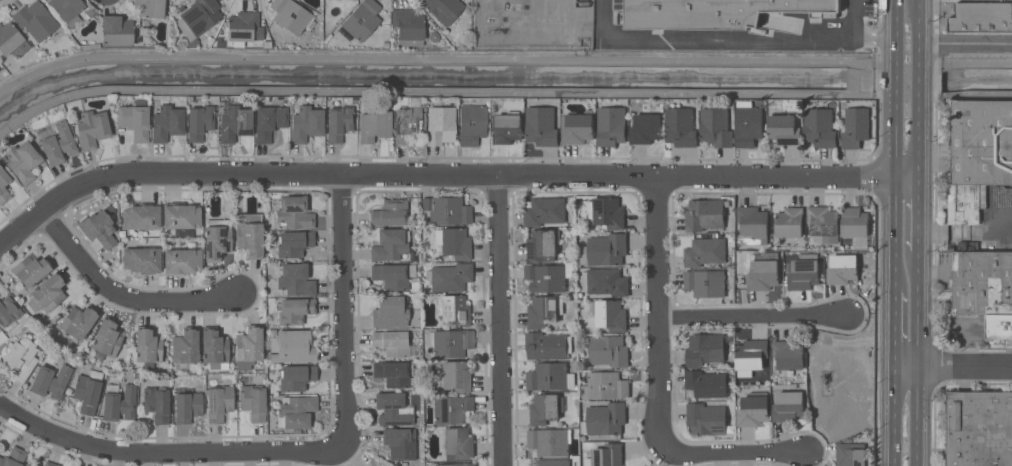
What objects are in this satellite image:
building: (66, 8)
building: (150, 8)
building: (443, 9)
building: (715, 12)
building: (290, 15)
building: (982, 17)
building: (35, 19)
building: (198, 19)
building: (361, 19)
road: (852, 20)
building: (408, 25)
building: (243, 27)
road: (918, 27)
road: (896, 28)
building: (116, 30)
petroleum well: (494, 31)
building: (11, 40)
road: (874, 40)
road: (708, 41)
road: (965, 44)
road: (502, 62)
road: (895, 80)
road: (918, 80)
building: (406, 117)
building: (134, 119)
building: (199, 121)
building: (268, 121)
building: (166, 122)
building: (234, 122)
building: (338, 122)
building: (305, 123)
building: (373, 123)
building: (471, 123)
building: (440, 124)
building: (611, 125)
building: (856, 125)
building: (542, 126)
building: (578, 126)
building: (749, 126)
building: (506, 127)
building: (681, 127)
building: (716, 127)
building: (820, 127)
building: (91, 128)
building: (646, 128)
building: (785, 129)
road: (894, 141)
road: (918, 141)
building: (58, 144)
building: (978, 155)
building: (23, 161)
road: (436, 174)
road: (906, 178)
building: (3, 182)
building: (447, 209)
building: (544, 211)
building: (294, 212)
building: (389, 212)
building: (609, 213)
building: (704, 214)
road: (917, 214)
building: (141, 216)
building: (181, 217)
building: (753, 222)
building: (789, 222)
building: (854, 222)
building: (823, 223)
building: (98, 227)
building: (249, 233)
road: (964, 233)
road: (894, 234)
building: (217, 238)
building: (453, 242)
building: (294, 243)
building: (389, 244)
building: (542, 246)
building: (604, 250)
building: (705, 252)
building: (142, 259)
building: (181, 261)
building: (31, 269)
building: (842, 269)
building: (764, 272)
building: (804, 272)
building: (392, 274)
building: (449, 276)
building: (545, 277)
building: (295, 279)
building: (605, 281)
building: (705, 283)
building: (985, 288)
building: (47, 292)
road: (122, 295)
road: (342, 308)
building: (453, 308)
building: (8, 310)
building: (294, 310)
building: (390, 311)
building: (544, 311)
road: (659, 311)
building: (611, 315)
road: (754, 316)
road: (500, 320)
building: (78, 321)
road: (894, 329)
building: (106, 337)
building: (450, 341)
building: (392, 342)
building: (547, 345)
building: (147, 346)
building: (248, 346)
building: (293, 346)
building: (184, 348)
building: (214, 348)
building: (705, 349)
building: (608, 350)
building: (788, 354)
building: (751, 355)
road: (917, 358)
building: (20, 360)
road: (953, 368)
building: (394, 373)
building: (456, 376)
building: (296, 377)
building: (549, 377)
building: (50, 380)
petroleum well: (825, 380)
building: (706, 383)
building: (607, 385)
building: (88, 390)
building: (253, 401)
building: (119, 402)
building: (219, 402)
building: (156, 403)
building: (187, 405)
building: (788, 406)
building: (393, 408)
building: (452, 408)
building: (544, 409)
building: (753, 409)
building: (296, 411)
road: (893, 417)
building: (605, 418)
building: (706, 418)
building: (979, 428)
building: (400, 441)
building: (549, 441)
building: (458, 443)
road: (166, 451)
building: (851, 454)
building: (606, 455)
building: (14, 457)
road: (730, 457)
building: (553, 462)
building: (50, 463)
building: (455, 464)
building: (29, 465)
building: (394, 465)
building: (395, 465)

